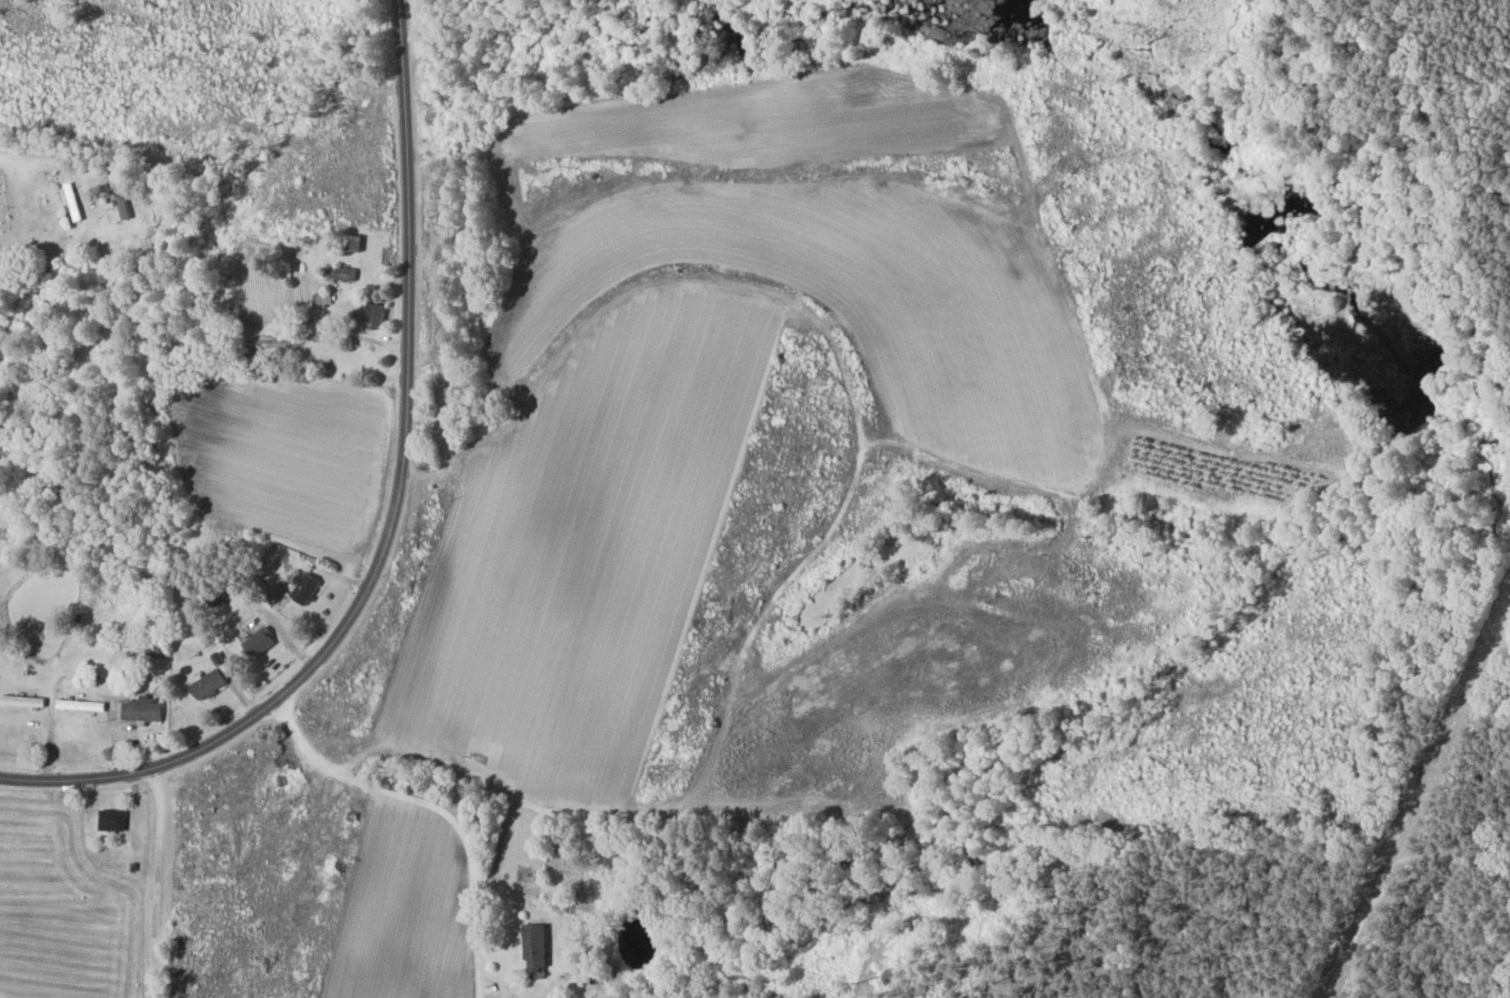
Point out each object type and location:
road: (38, 164)
building: (75, 200)
building: (359, 241)
building: (342, 273)
building: (374, 314)
road: (395, 518)
building: (310, 589)
building: (263, 643)
building: (214, 683)
building: (87, 705)
building: (146, 710)
road: (442, 806)
building: (116, 821)
road: (156, 883)
building: (538, 948)

